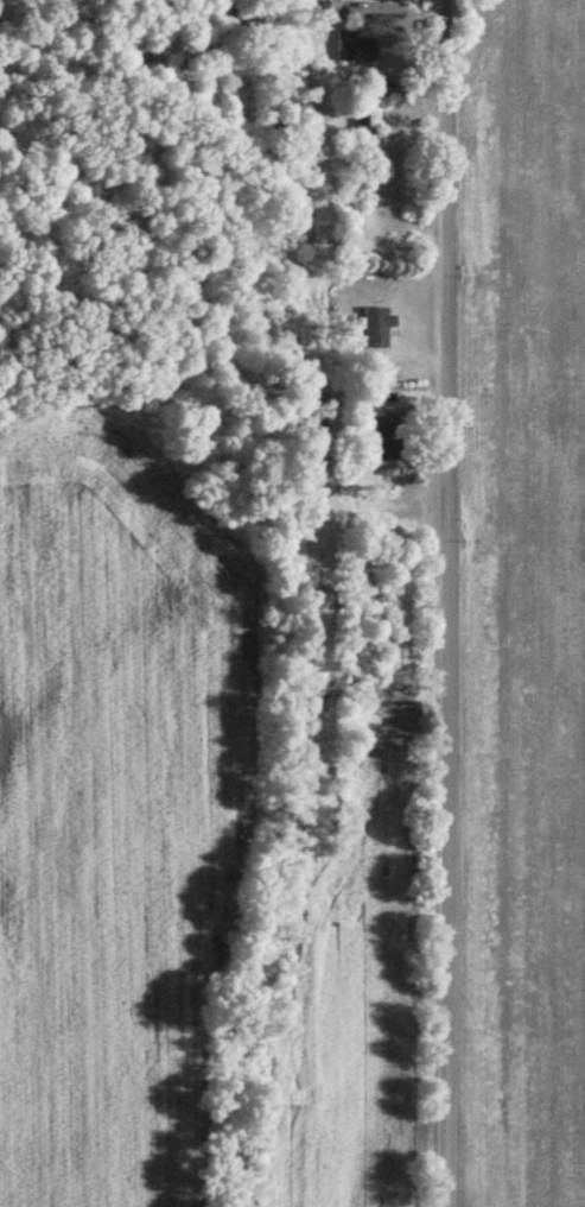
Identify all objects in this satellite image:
building: (356, 46)
building: (367, 116)
building: (377, 327)
building: (386, 438)
road: (457, 602)

